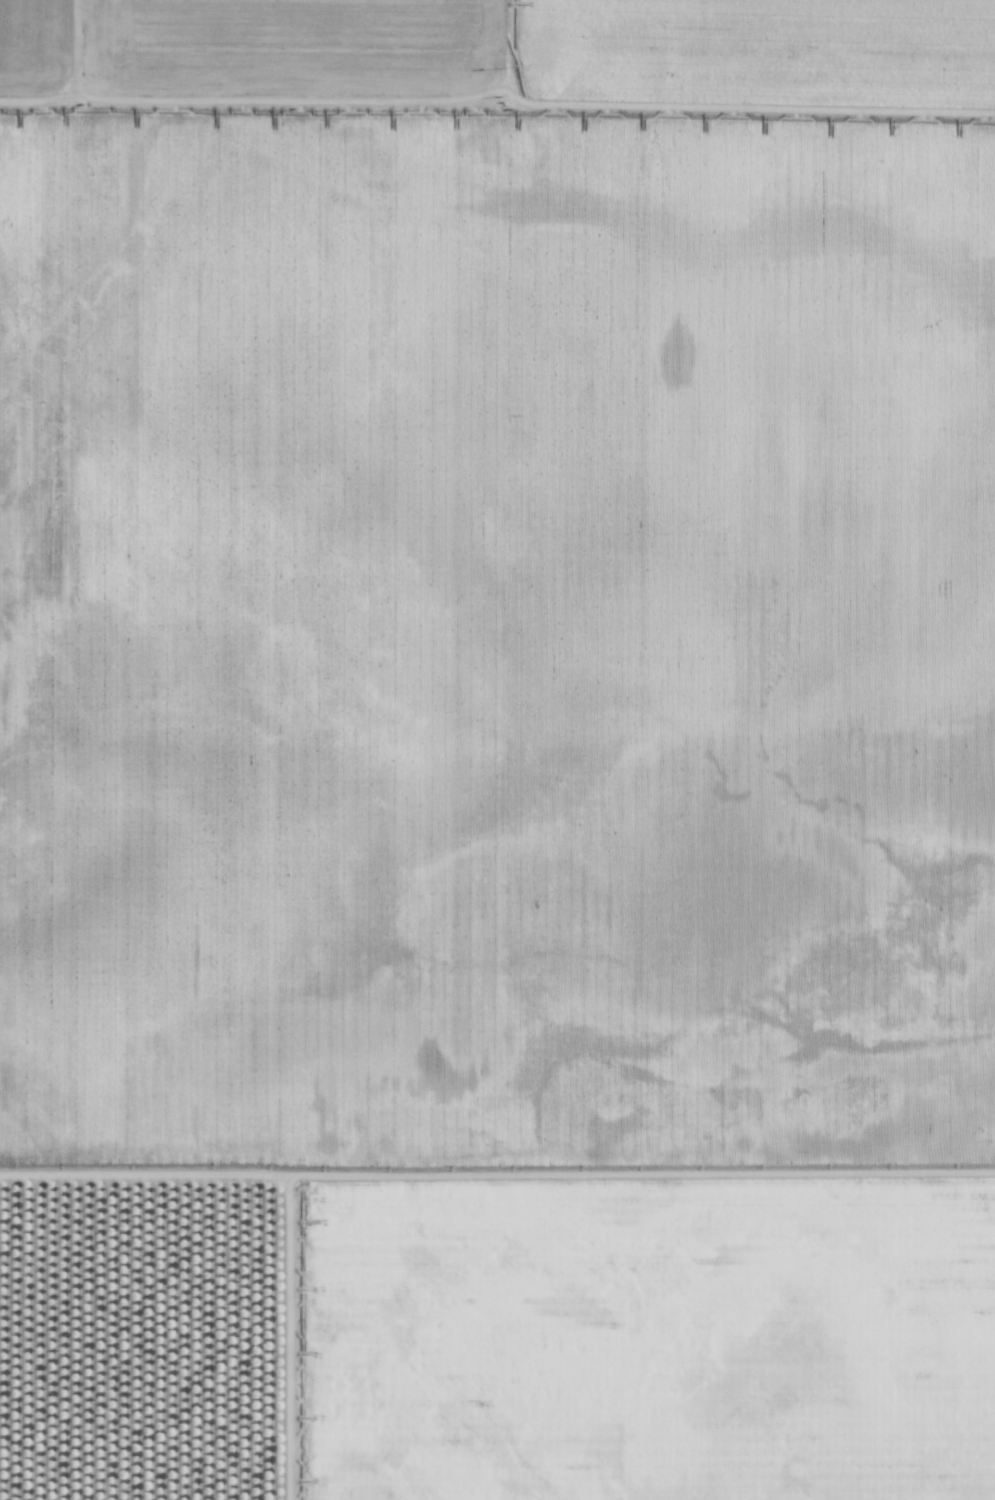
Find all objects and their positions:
crop: (497, 750)

